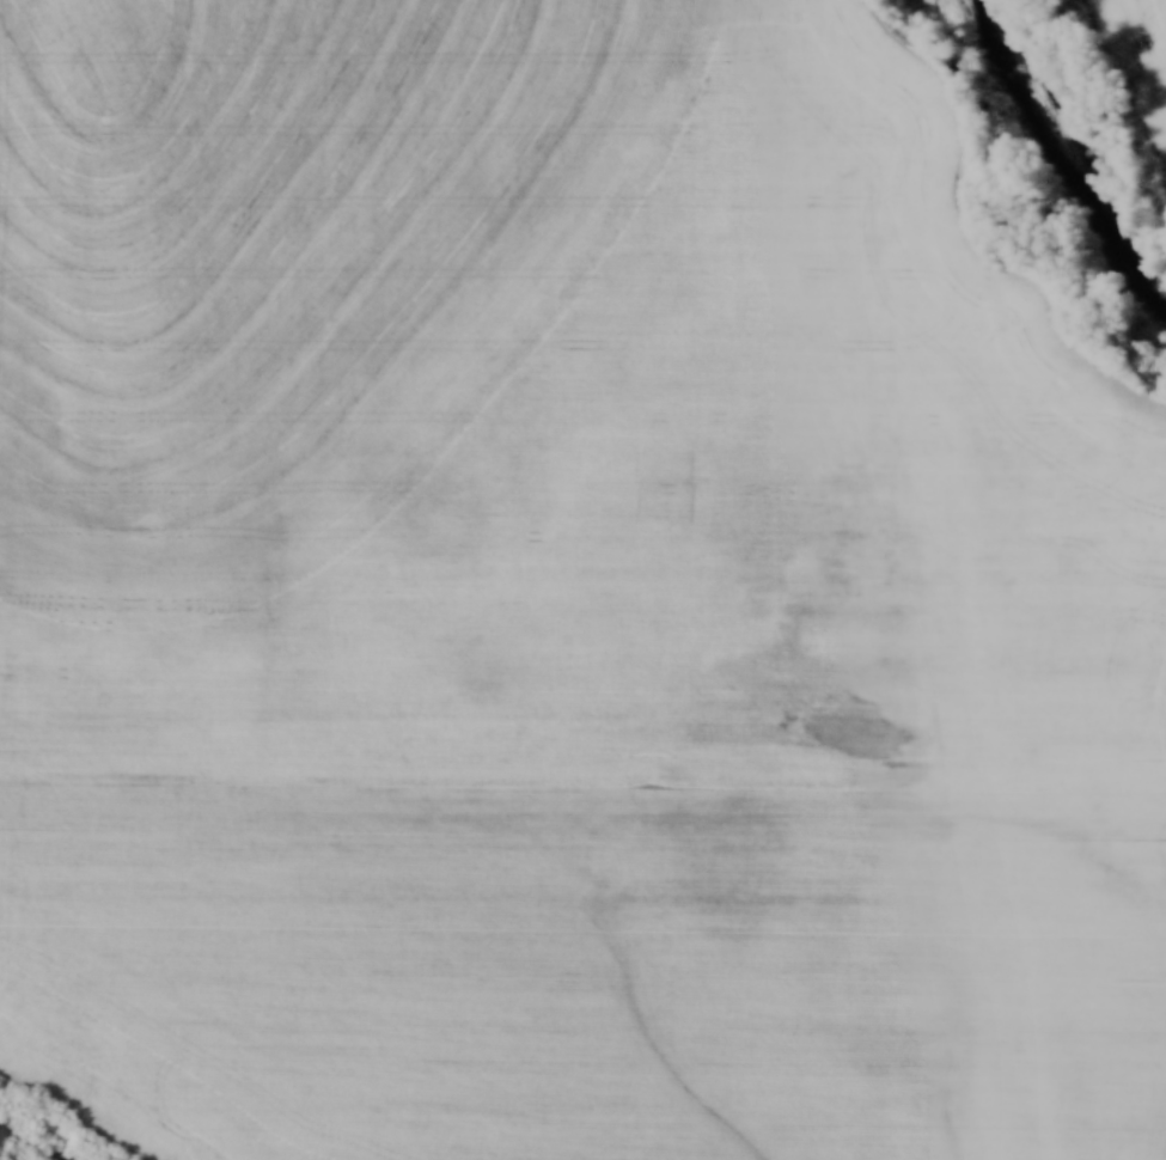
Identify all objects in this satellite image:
river: (1063, 158)

